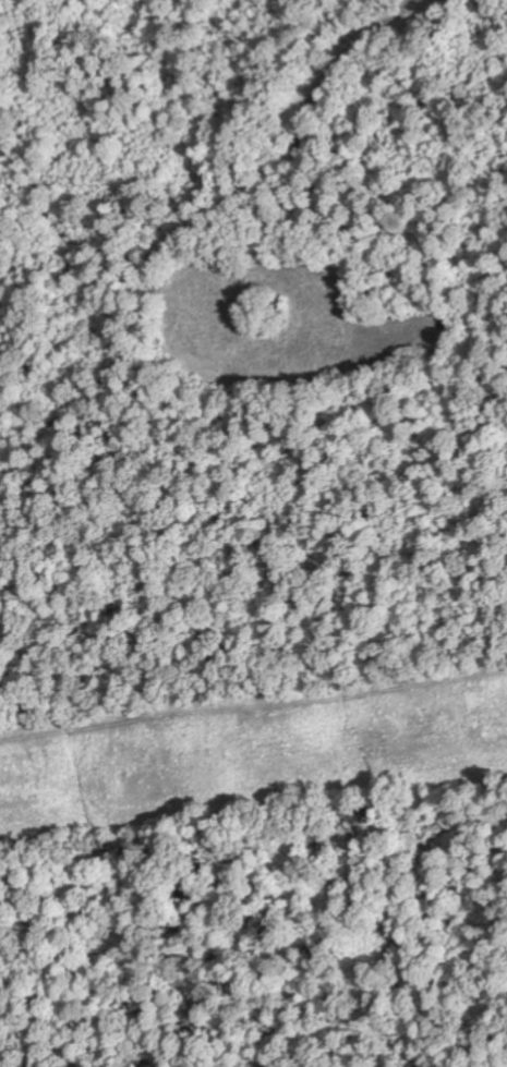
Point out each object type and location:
road: (201, 232)

